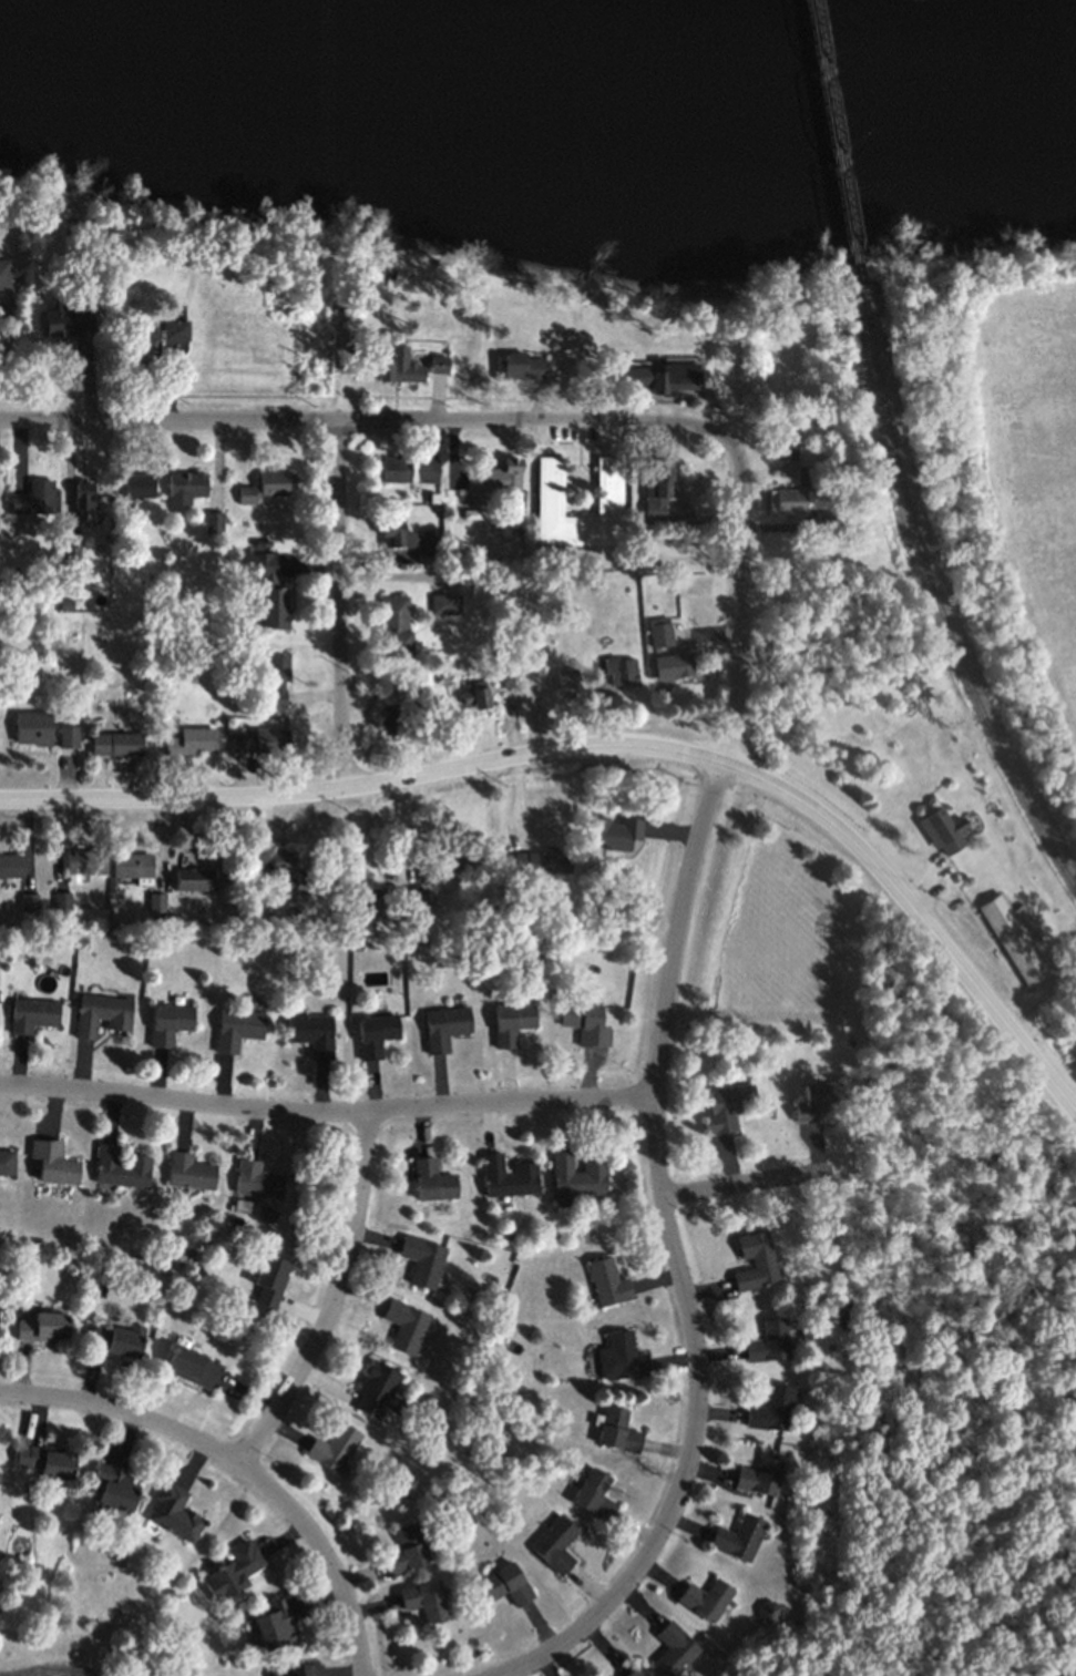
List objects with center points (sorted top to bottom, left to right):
river: (756, 33)
railway: (838, 143)
building: (196, 260)
building: (3, 277)
building: (451, 304)
building: (63, 321)
building: (175, 333)
building: (147, 352)
building: (438, 364)
building: (398, 368)
building: (520, 368)
building: (666, 380)
road: (386, 420)
park: (1001, 444)
building: (786, 450)
building: (399, 469)
building: (428, 472)
building: (805, 474)
building: (492, 479)
road: (68, 482)
building: (186, 486)
building: (141, 487)
building: (266, 488)
building: (547, 488)
building: (656, 488)
building: (33, 499)
building: (434, 500)
building: (83, 501)
building: (798, 501)
building: (470, 515)
building: (213, 525)
building: (397, 539)
building: (427, 548)
building: (70, 555)
road: (868, 573)
building: (267, 591)
railway: (934, 596)
building: (65, 604)
building: (444, 604)
road: (338, 605)
road: (736, 620)
building: (393, 628)
building: (662, 633)
building: (532, 666)
building: (676, 666)
building: (619, 671)
building: (277, 682)
building: (509, 682)
building: (566, 684)
building: (413, 689)
building: (474, 703)
building: (393, 723)
building: (33, 728)
building: (69, 737)
building: (263, 740)
building: (194, 742)
building: (119, 744)
road: (362, 787)
building: (612, 829)
building: (941, 830)
building: (459, 858)
building: (542, 860)
building: (84, 865)
building: (132, 865)
building: (281, 865)
building: (12, 866)
building: (194, 877)
building: (30, 902)
building: (62, 903)
road: (918, 912)
building: (1015, 936)
building: (102, 1012)
building: (32, 1013)
building: (168, 1021)
building: (512, 1021)
building: (586, 1021)
building: (444, 1024)
building: (237, 1025)
building: (311, 1031)
building: (375, 1032)
building: (820, 1100)
building: (728, 1103)
road: (326, 1108)
building: (53, 1159)
building: (7, 1161)
building: (121, 1165)
building: (189, 1169)
building: (576, 1173)
building: (508, 1175)
building: (257, 1178)
building: (432, 1178)
road: (737, 1181)
building: (422, 1258)
road: (674, 1258)
building: (755, 1259)
building: (268, 1276)
building: (608, 1280)
road: (340, 1296)
building: (404, 1324)
building: (43, 1325)
building: (115, 1338)
building: (769, 1339)
building: (625, 1353)
building: (192, 1365)
building: (378, 1388)
building: (771, 1407)
building: (617, 1428)
building: (334, 1444)
building: (45, 1459)
road: (240, 1461)
building: (760, 1472)
building: (115, 1485)
building: (594, 1492)
building: (173, 1510)
building: (739, 1535)
building: (555, 1542)
building: (406, 1547)
building: (232, 1567)
building: (505, 1583)
building: (706, 1596)
building: (424, 1598)
building: (274, 1622)
building: (673, 1647)
building: (285, 1670)
building: (633, 1672)

